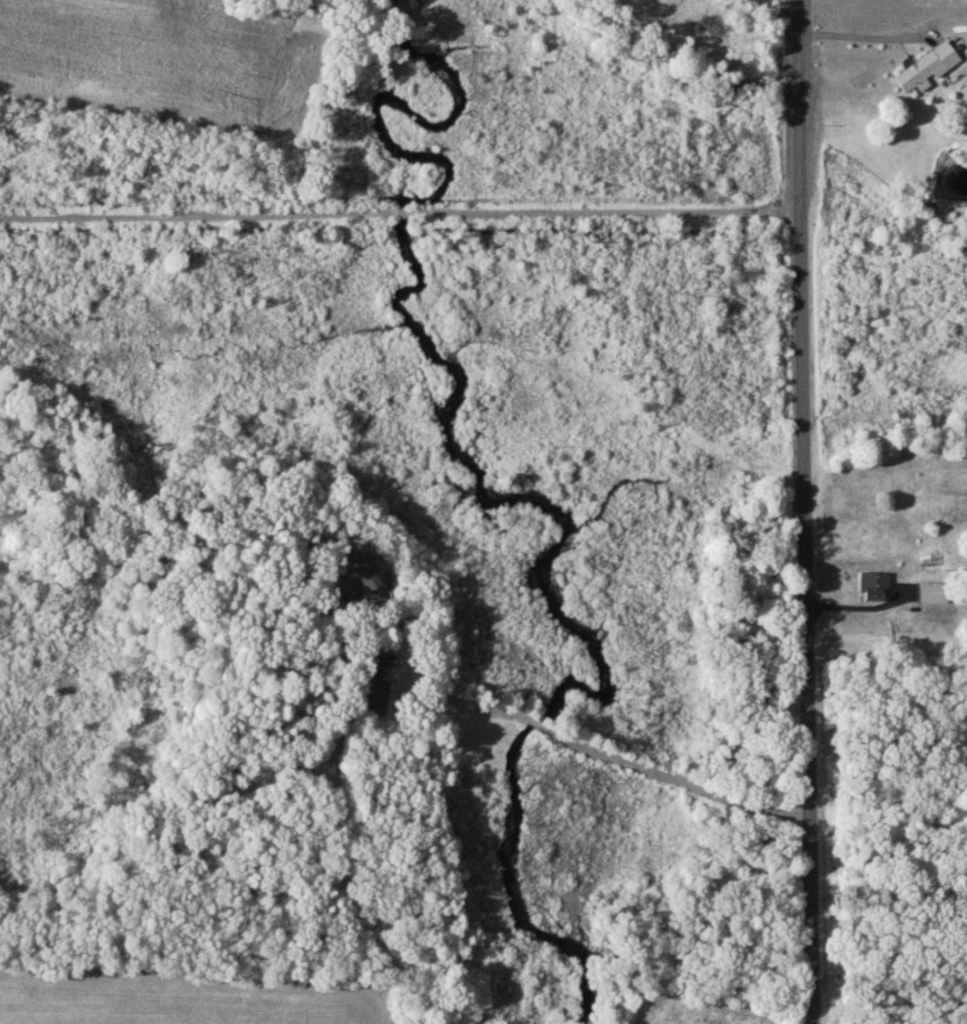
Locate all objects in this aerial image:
road: (868, 38)
building: (928, 69)
road: (802, 103)
road: (401, 210)
building: (877, 588)
building: (937, 594)
road: (808, 616)
building: (379, 683)
road: (602, 757)

